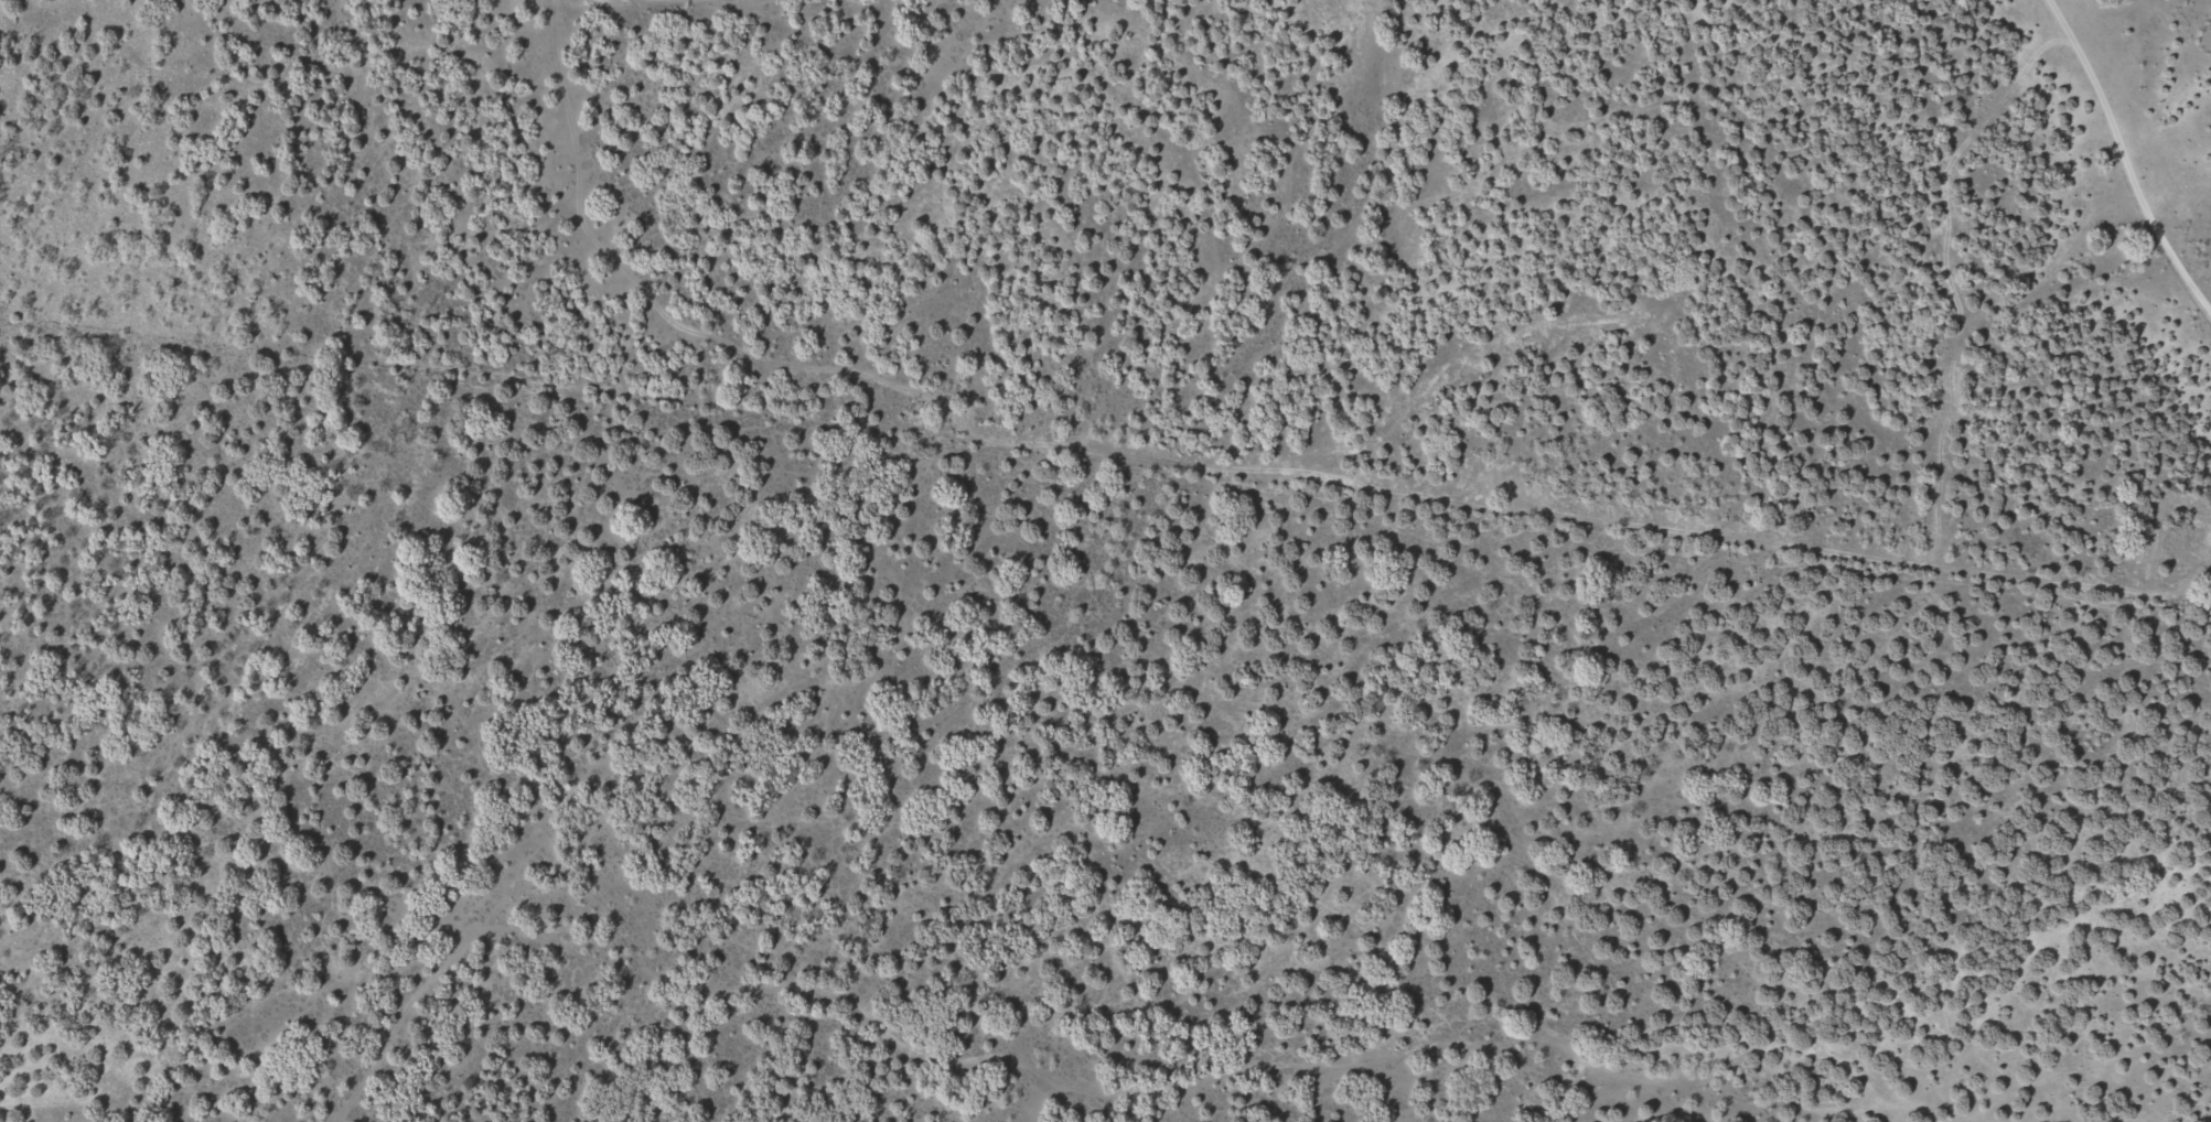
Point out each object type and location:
road: (100, 1098)

